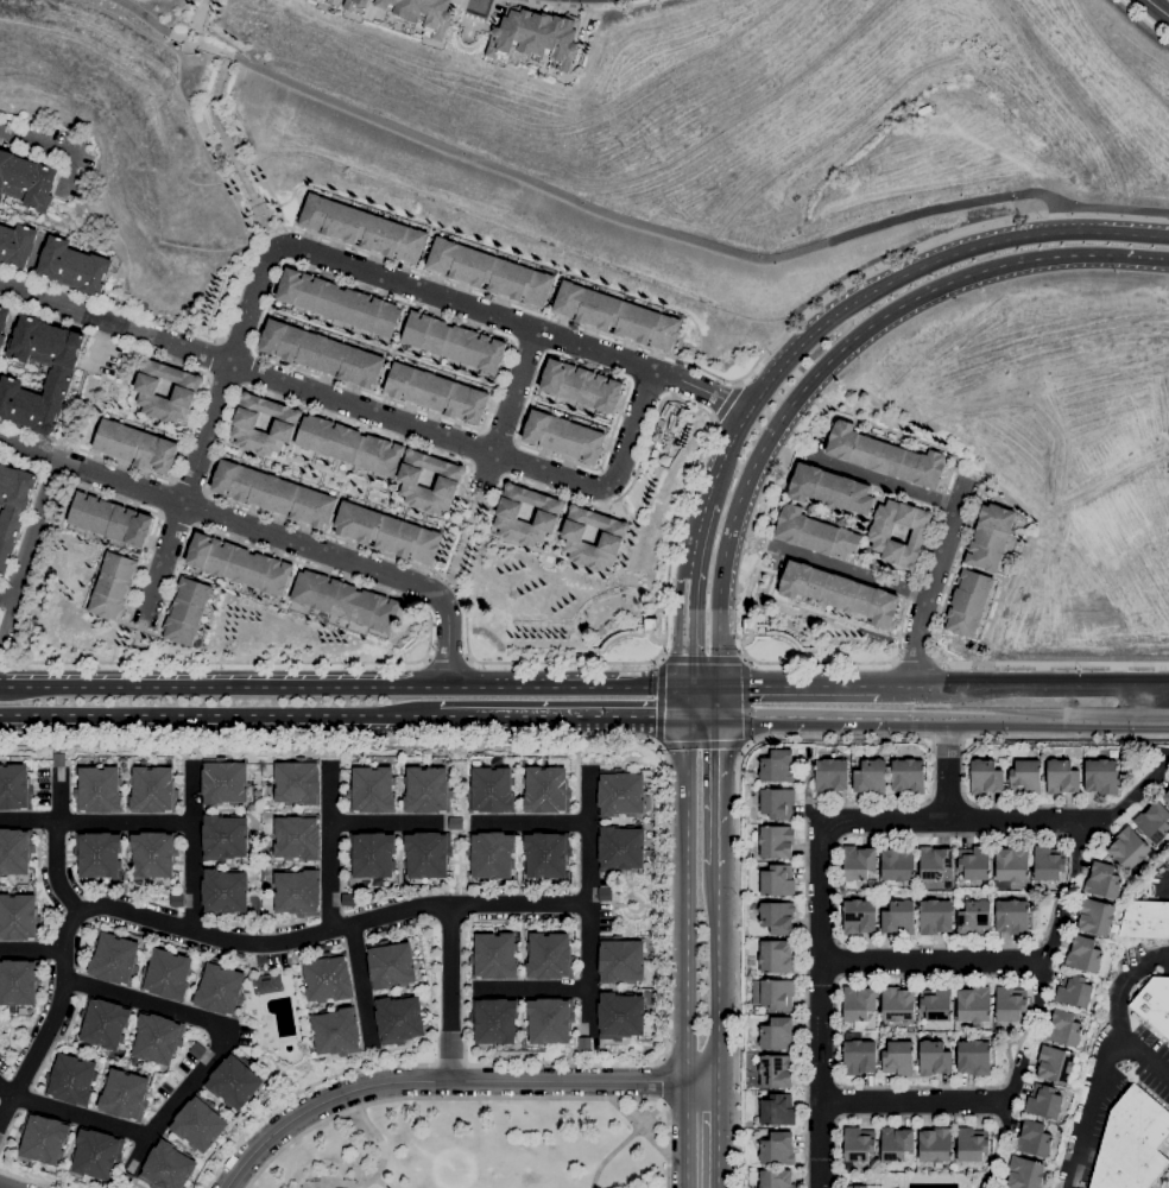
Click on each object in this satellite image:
building: (333, 1)
building: (354, 4)
road: (1161, 7)
road: (587, 8)
road: (475, 10)
building: (422, 13)
road: (1143, 19)
road: (151, 21)
road: (476, 21)
road: (191, 34)
building: (537, 36)
park: (466, 39)
road: (208, 46)
road: (226, 61)
park: (223, 112)
road: (211, 114)
road: (4, 139)
road: (56, 147)
building: (5, 165)
building: (14, 176)
building: (44, 176)
building: (25, 179)
building: (1, 194)
building: (38, 198)
road: (1108, 207)
road: (630, 220)
road: (1055, 220)
building: (1, 228)
building: (364, 228)
building: (24, 236)
road: (336, 241)
building: (5, 242)
road: (291, 246)
building: (56, 247)
road: (1083, 253)
road: (1133, 254)
building: (18, 255)
road: (267, 257)
road: (883, 260)
road: (1017, 261)
road: (930, 263)
building: (49, 266)
building: (68, 266)
building: (80, 271)
building: (491, 272)
building: (95, 274)
building: (339, 303)
building: (617, 315)
building: (4, 317)
road: (513, 320)
building: (29, 328)
building: (2, 337)
building: (42, 342)
building: (454, 342)
building: (53, 346)
building: (20, 348)
building: (70, 348)
building: (323, 354)
building: (61, 374)
road: (303, 386)
building: (581, 386)
building: (10, 387)
road: (514, 388)
building: (55, 390)
building: (185, 391)
building: (437, 392)
road: (723, 403)
building: (19, 406)
building: (6, 407)
road: (198, 407)
building: (32, 411)
road: (326, 413)
building: (48, 416)
building: (286, 422)
road: (631, 425)
road: (482, 426)
road: (204, 431)
road: (769, 435)
building: (564, 436)
road: (498, 438)
road: (519, 443)
building: (350, 444)
building: (135, 445)
road: (723, 455)
building: (886, 456)
building: (2, 472)
building: (449, 481)
road: (883, 481)
building: (7, 485)
road: (189, 487)
building: (23, 488)
building: (830, 489)
building: (274, 493)
building: (12, 513)
building: (548, 514)
building: (110, 520)
building: (8, 530)
road: (263, 531)
building: (387, 532)
building: (816, 533)
building: (879, 537)
building: (990, 537)
building: (613, 538)
road: (27, 549)
building: (5, 554)
road: (760, 554)
building: (238, 564)
road: (846, 568)
road: (933, 581)
road: (950, 582)
building: (113, 586)
road: (171, 588)
road: (688, 593)
building: (839, 593)
road: (6, 596)
building: (345, 600)
building: (968, 602)
road: (813, 609)
building: (187, 611)
road: (748, 614)
road: (649, 624)
building: (631, 631)
road: (664, 632)
building: (771, 632)
park: (630, 638)
road: (898, 638)
park: (765, 639)
road: (702, 657)
road: (425, 659)
road: (469, 659)
road: (447, 661)
road: (917, 661)
road: (211, 662)
road: (1067, 663)
road: (342, 683)
traffic signals: (685, 687)
road: (701, 687)
traffic signals: (716, 687)
road: (829, 687)
road: (998, 687)
road: (1111, 687)
road: (716, 700)
road: (745, 700)
road: (658, 701)
traffic signals: (716, 714)
road: (815, 714)
road: (548, 715)
traffic signals: (684, 715)
road: (1059, 715)
road: (207, 718)
road: (588, 735)
road: (1066, 735)
road: (898, 737)
road: (948, 737)
road: (701, 744)
building: (59, 759)
building: (778, 766)
road: (947, 767)
building: (832, 776)
building: (909, 776)
building: (1101, 776)
building: (871, 777)
building: (986, 777)
building: (1025, 777)
building: (1062, 777)
building: (225, 782)
building: (298, 782)
building: (15, 788)
building: (153, 789)
road: (715, 789)
building: (99, 790)
building: (372, 790)
building: (426, 790)
building: (492, 790)
building: (546, 790)
building: (620, 792)
building: (1167, 797)
building: (778, 803)
road: (29, 820)
road: (125, 822)
building: (1154, 822)
road: (390, 823)
building: (456, 823)
road: (461, 823)
road: (531, 824)
road: (832, 827)
building: (225, 836)
building: (297, 838)
road: (587, 839)
building: (777, 841)
road: (56, 843)
road: (1078, 845)
building: (621, 847)
road: (191, 848)
road: (330, 848)
building: (1129, 848)
building: (14, 852)
building: (97, 853)
building: (153, 854)
building: (373, 854)
building: (428, 854)
building: (492, 854)
building: (548, 854)
building: (859, 862)
building: (935, 862)
building: (975, 862)
building: (1049, 862)
building: (898, 864)
building: (1012, 864)
building: (778, 880)
building: (1104, 880)
building: (909, 885)
building: (225, 892)
building: (298, 892)
building: (349, 899)
building: (177, 901)
road: (625, 906)
building: (936, 916)
building: (1012, 916)
building: (18, 917)
building: (778, 917)
building: (859, 917)
building: (899, 917)
building: (975, 917)
building: (1095, 917)
building: (1145, 920)
road: (1050, 935)
road: (220, 936)
road: (684, 936)
road: (31, 950)
building: (494, 955)
building: (1085, 955)
building: (550, 956)
building: (777, 956)
building: (115, 960)
building: (620, 960)
road: (931, 960)
building: (391, 963)
road: (584, 968)
road: (718, 973)
building: (168, 974)
building: (328, 978)
road: (359, 980)
building: (18, 981)
building: (267, 984)
road: (1040, 986)
road: (517, 987)
building: (221, 990)
building: (1074, 991)
road: (449, 992)
building: (773, 993)
building: (858, 1003)
building: (936, 1003)
building: (1011, 1003)
building: (898, 1004)
building: (974, 1004)
building: (1154, 1004)
building: (751, 1010)
road: (1123, 1011)
building: (620, 1016)
building: (399, 1019)
building: (494, 1019)
building: (549, 1020)
building: (103, 1023)
building: (1064, 1029)
building: (336, 1032)
building: (778, 1034)
building: (157, 1037)
building: (977, 1037)
building: (584, 1043)
road: (589, 1048)
building: (197, 1050)
building: (859, 1055)
building: (898, 1057)
building: (935, 1057)
building: (974, 1057)
road: (378, 1060)
road: (451, 1060)
building: (1055, 1063)
building: (777, 1070)
road: (197, 1072)
building: (71, 1080)
building: (234, 1080)
road: (453, 1080)
road: (657, 1081)
road: (6, 1091)
road: (304, 1091)
building: (125, 1094)
road: (1011, 1097)
road: (470, 1098)
road: (915, 1101)
building: (1044, 1101)
road: (659, 1104)
road: (1088, 1107)
building: (778, 1110)
road: (650, 1116)
building: (198, 1121)
road: (718, 1136)
road: (379, 1137)
building: (43, 1138)
building: (1034, 1138)
building: (859, 1143)
building: (1132, 1143)
building: (896, 1144)
building: (972, 1144)
building: (935, 1145)
park: (480, 1148)
building: (777, 1149)
road: (134, 1150)
road: (998, 1152)
building: (96, 1154)
road: (611, 1154)
building: (166, 1167)
building: (1024, 1173)
building: (125, 1178)
building: (776, 1178)
road: (31, 1180)
road: (988, 1182)
road: (2, 1187)
building: (855, 1187)

